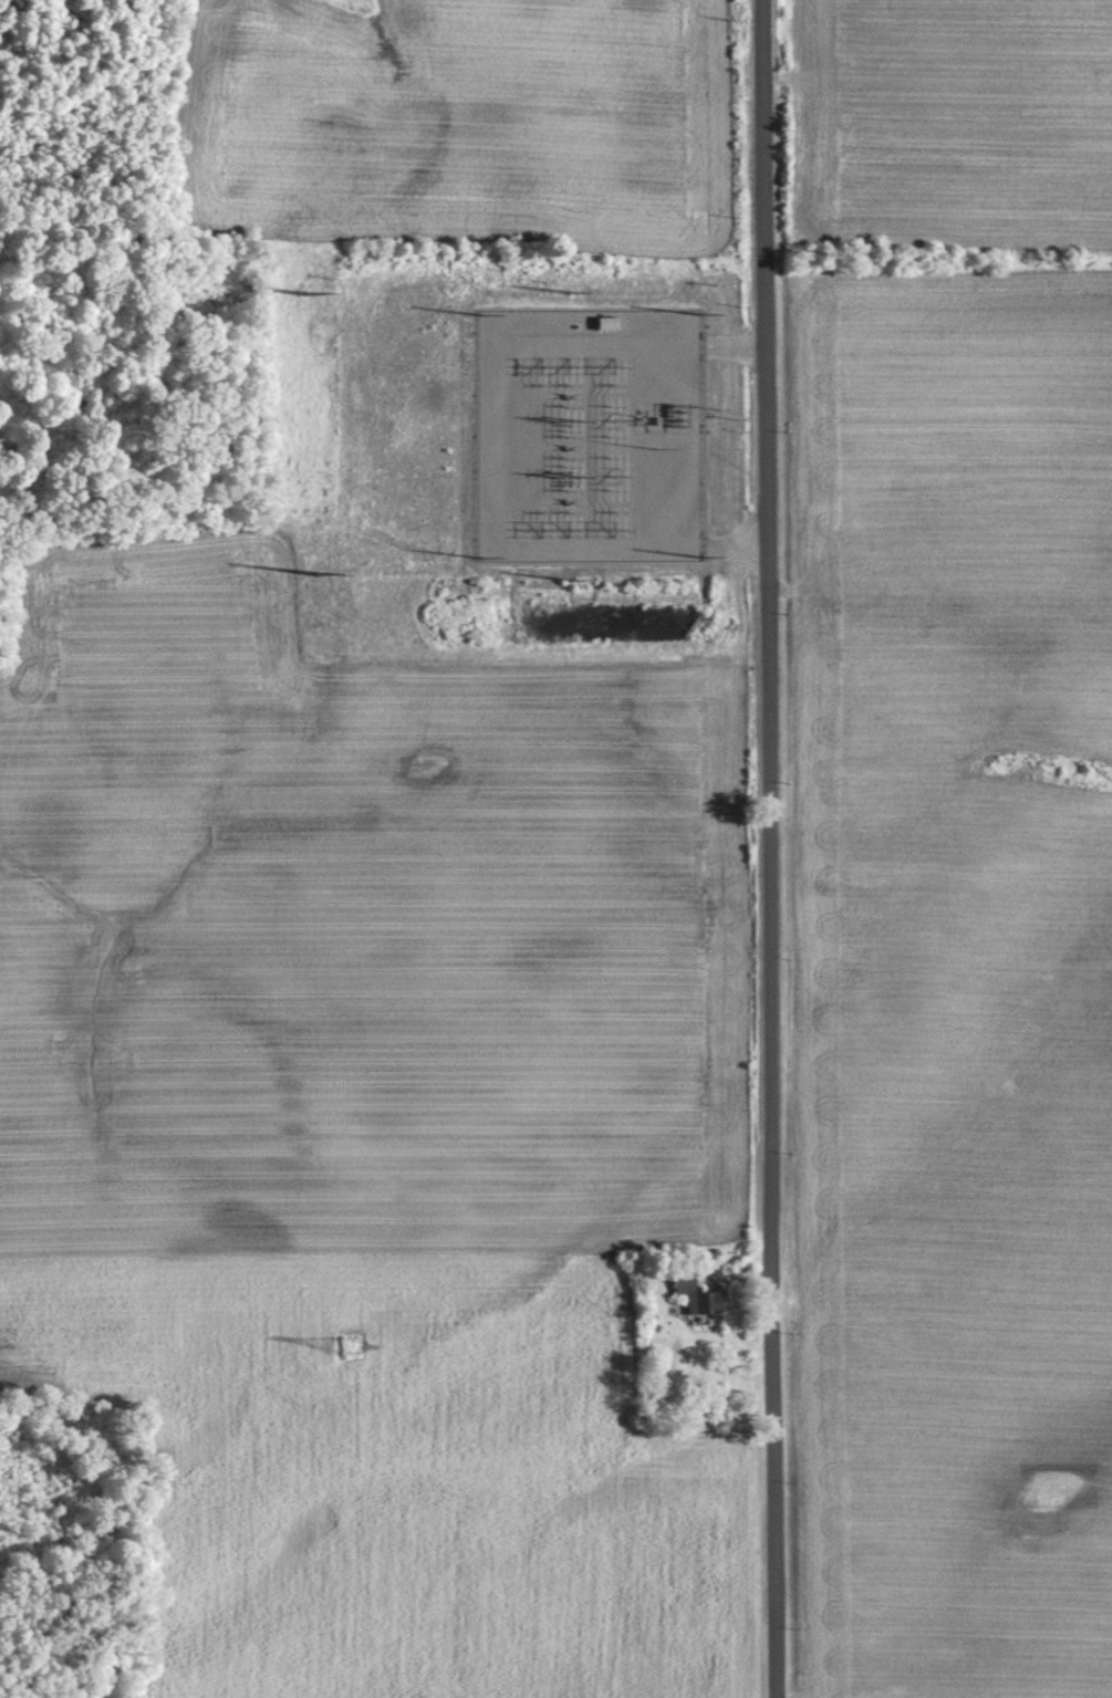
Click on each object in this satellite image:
road: (769, 848)
power tower: (349, 1345)

